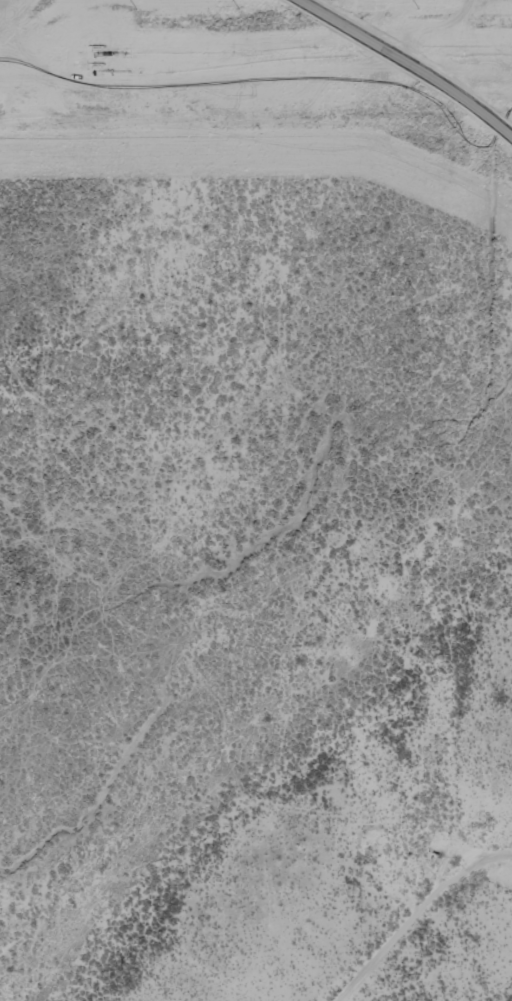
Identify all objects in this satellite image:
road: (372, 82)
road: (392, 921)

